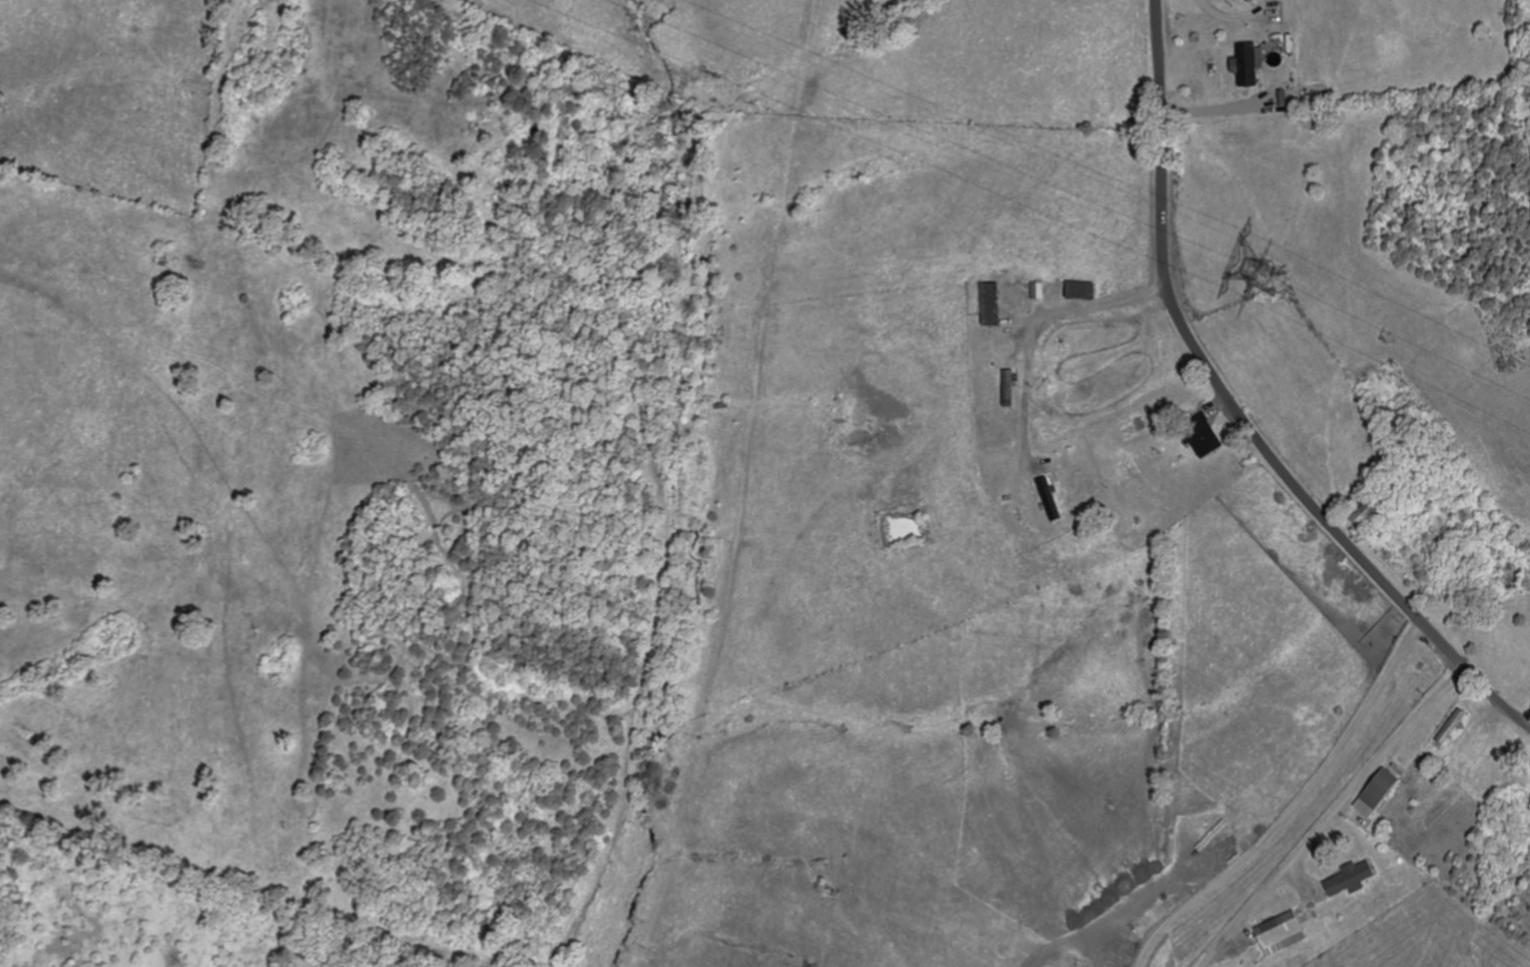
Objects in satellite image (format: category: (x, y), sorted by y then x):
building: (1247, 65)
power tower: (1277, 289)
building: (1039, 290)
building: (1082, 290)
building: (1003, 304)
road: (1237, 412)
building: (1204, 436)
building: (1365, 514)
building: (1452, 727)
building: (1378, 793)
building: (1355, 876)
building: (1280, 933)

